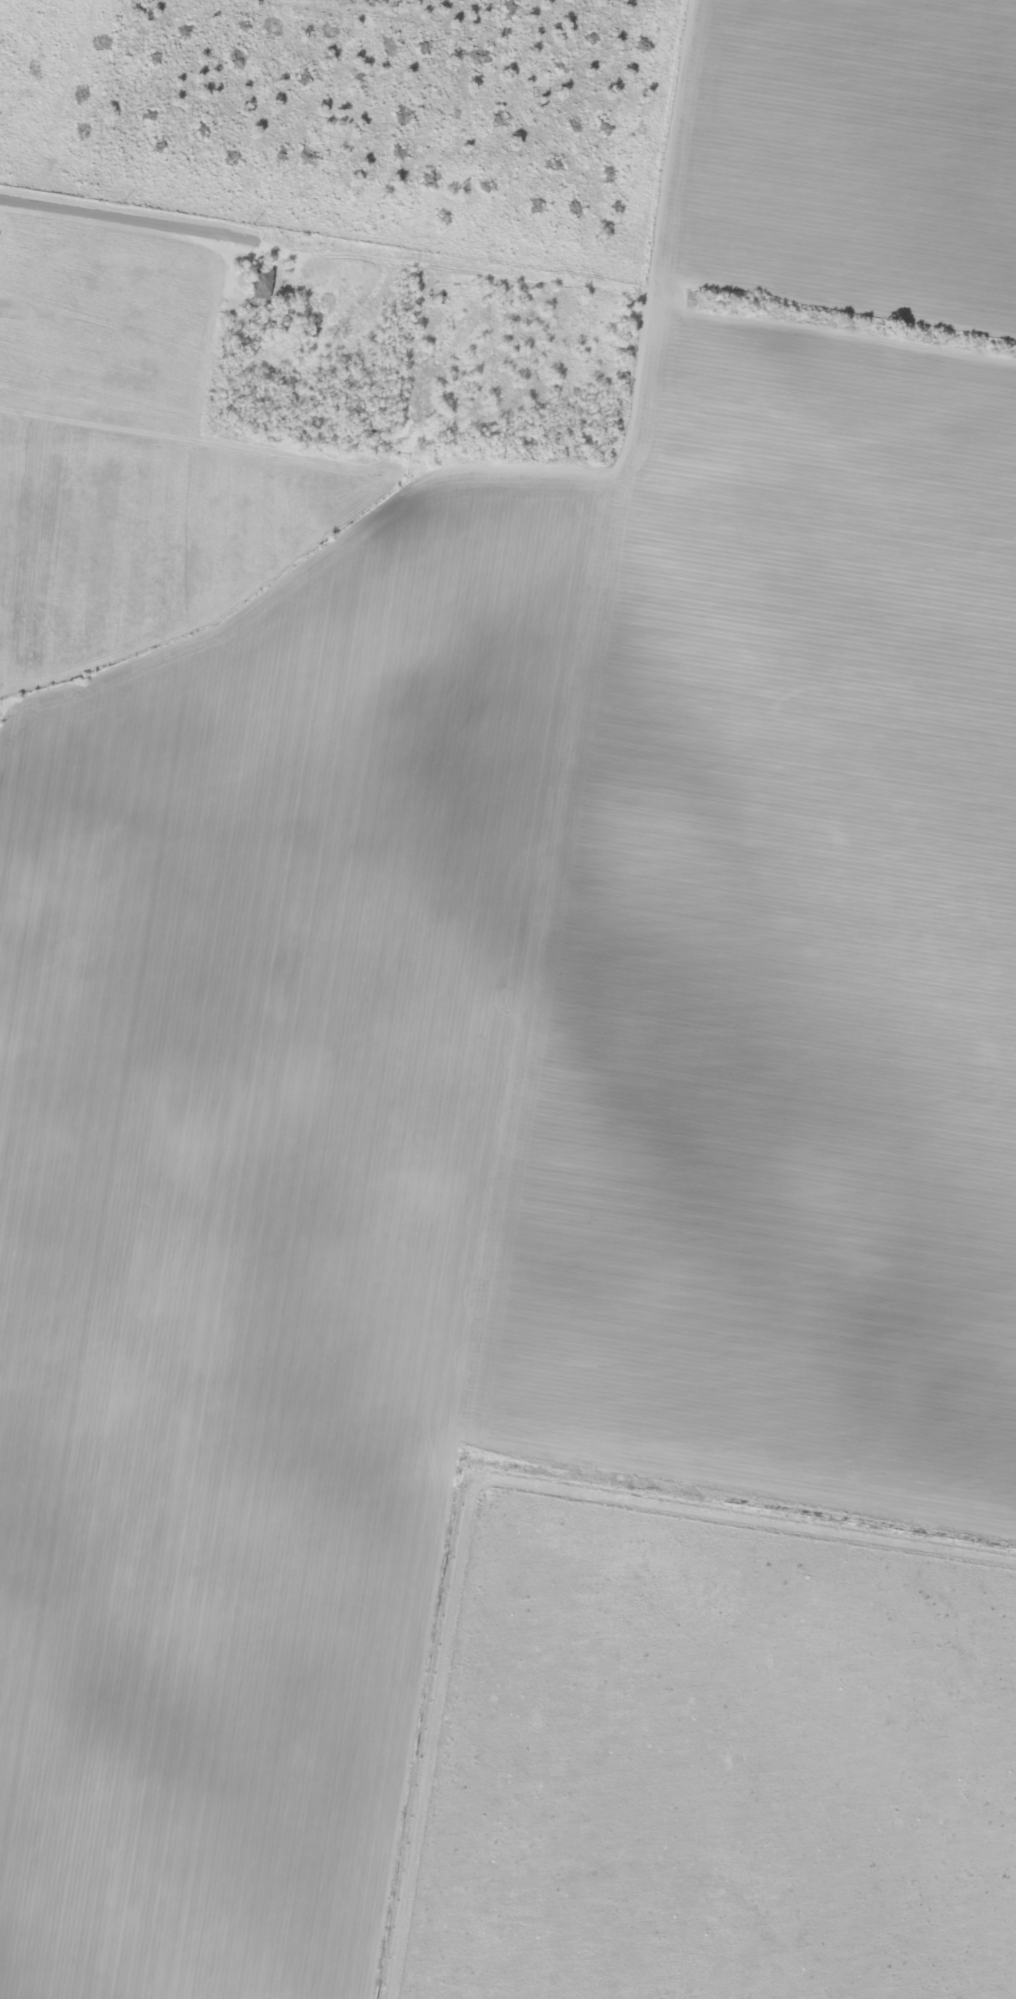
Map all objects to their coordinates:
road: (657, 141)
road: (318, 239)
building: (261, 285)
road: (826, 310)
building: (317, 312)
railway: (400, 557)

